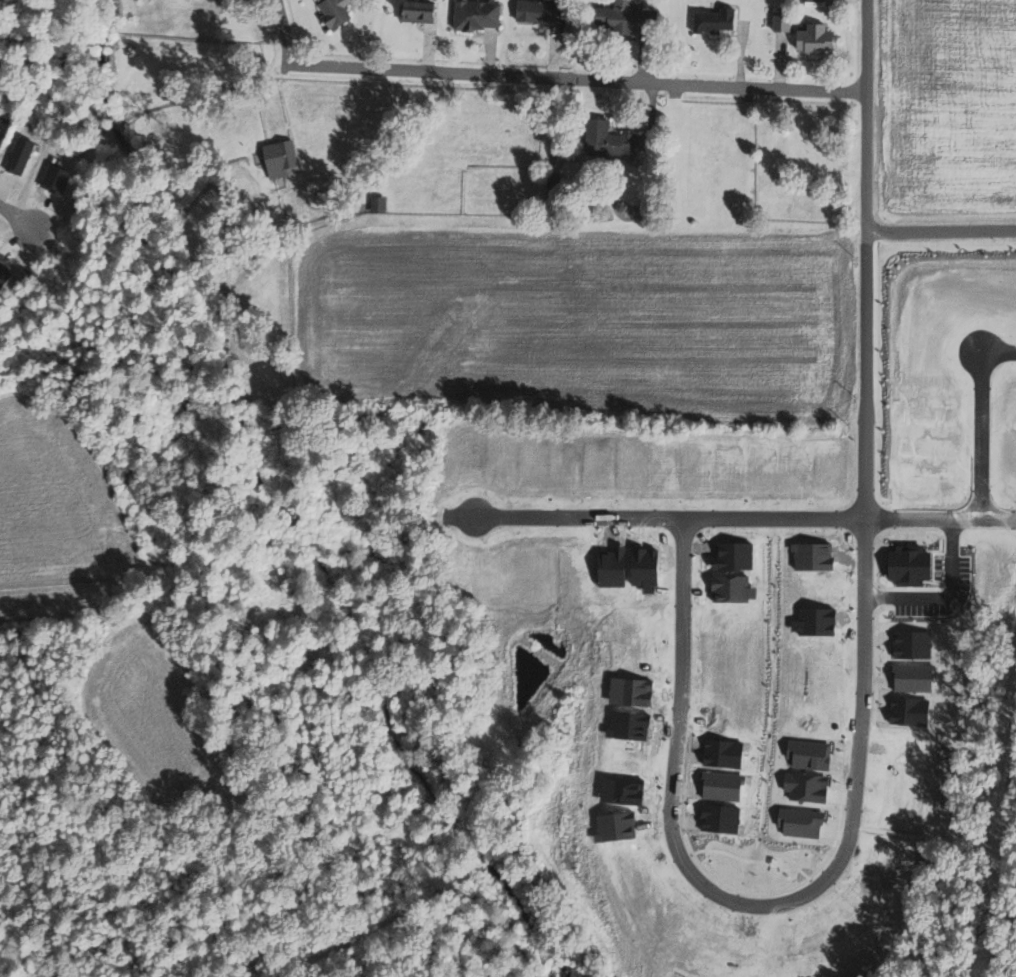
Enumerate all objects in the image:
building: (813, 0)
building: (544, 11)
building: (422, 12)
building: (338, 13)
building: (481, 16)
building: (632, 21)
building: (719, 21)
building: (785, 23)
building: (819, 40)
road: (547, 80)
building: (1, 132)
building: (613, 139)
building: (23, 155)
building: (283, 157)
building: (382, 204)
road: (18, 217)
road: (940, 236)
road: (1003, 348)
road: (990, 432)
road: (673, 513)
river: (280, 514)
road: (942, 514)
road: (866, 693)

